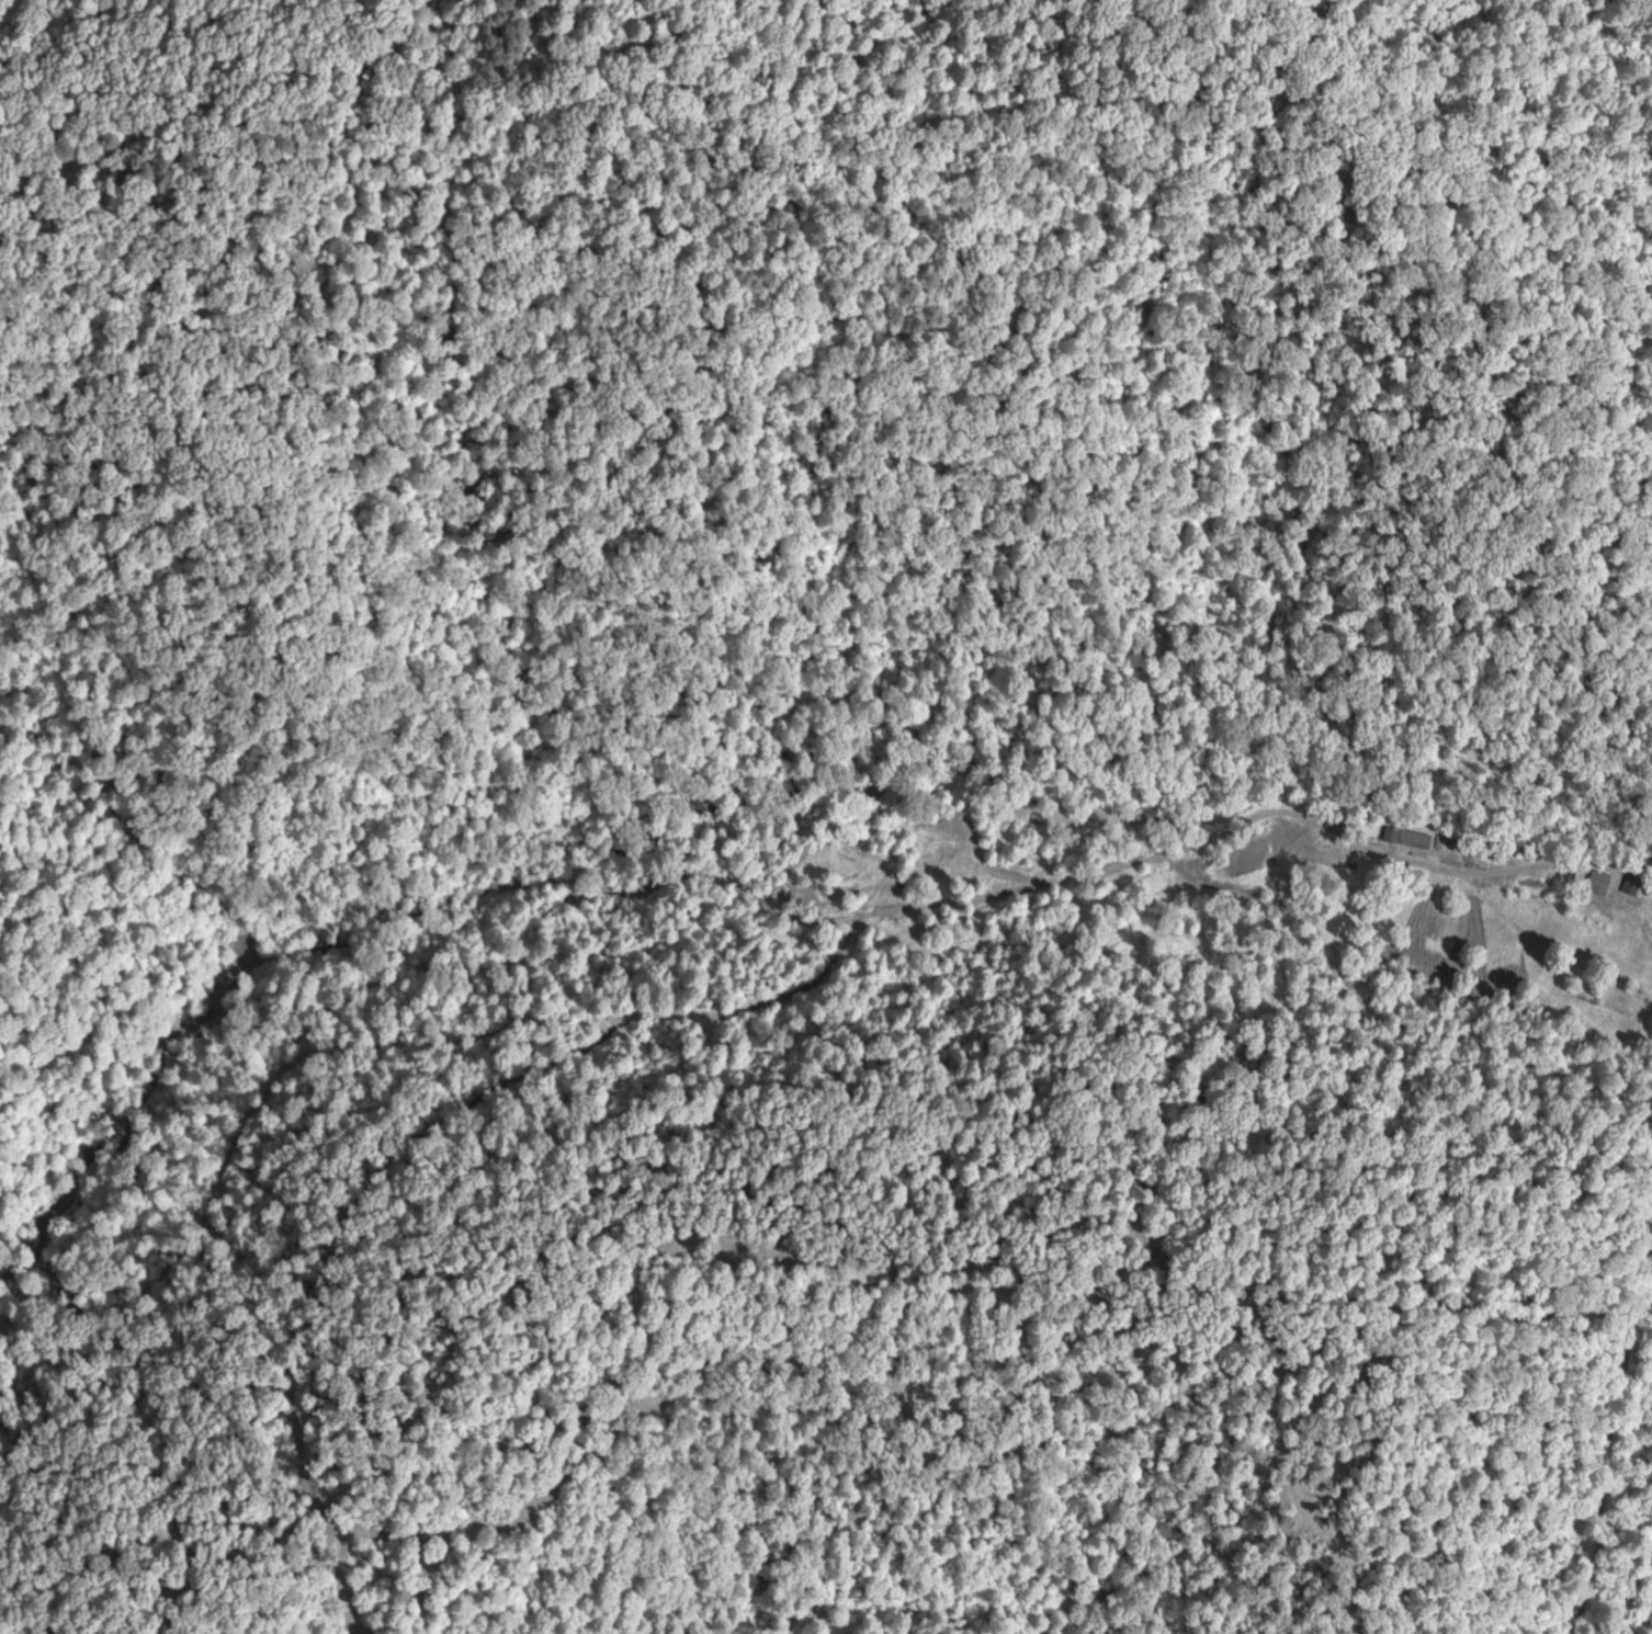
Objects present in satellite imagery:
building: (1633, 887)
building: (1595, 889)

